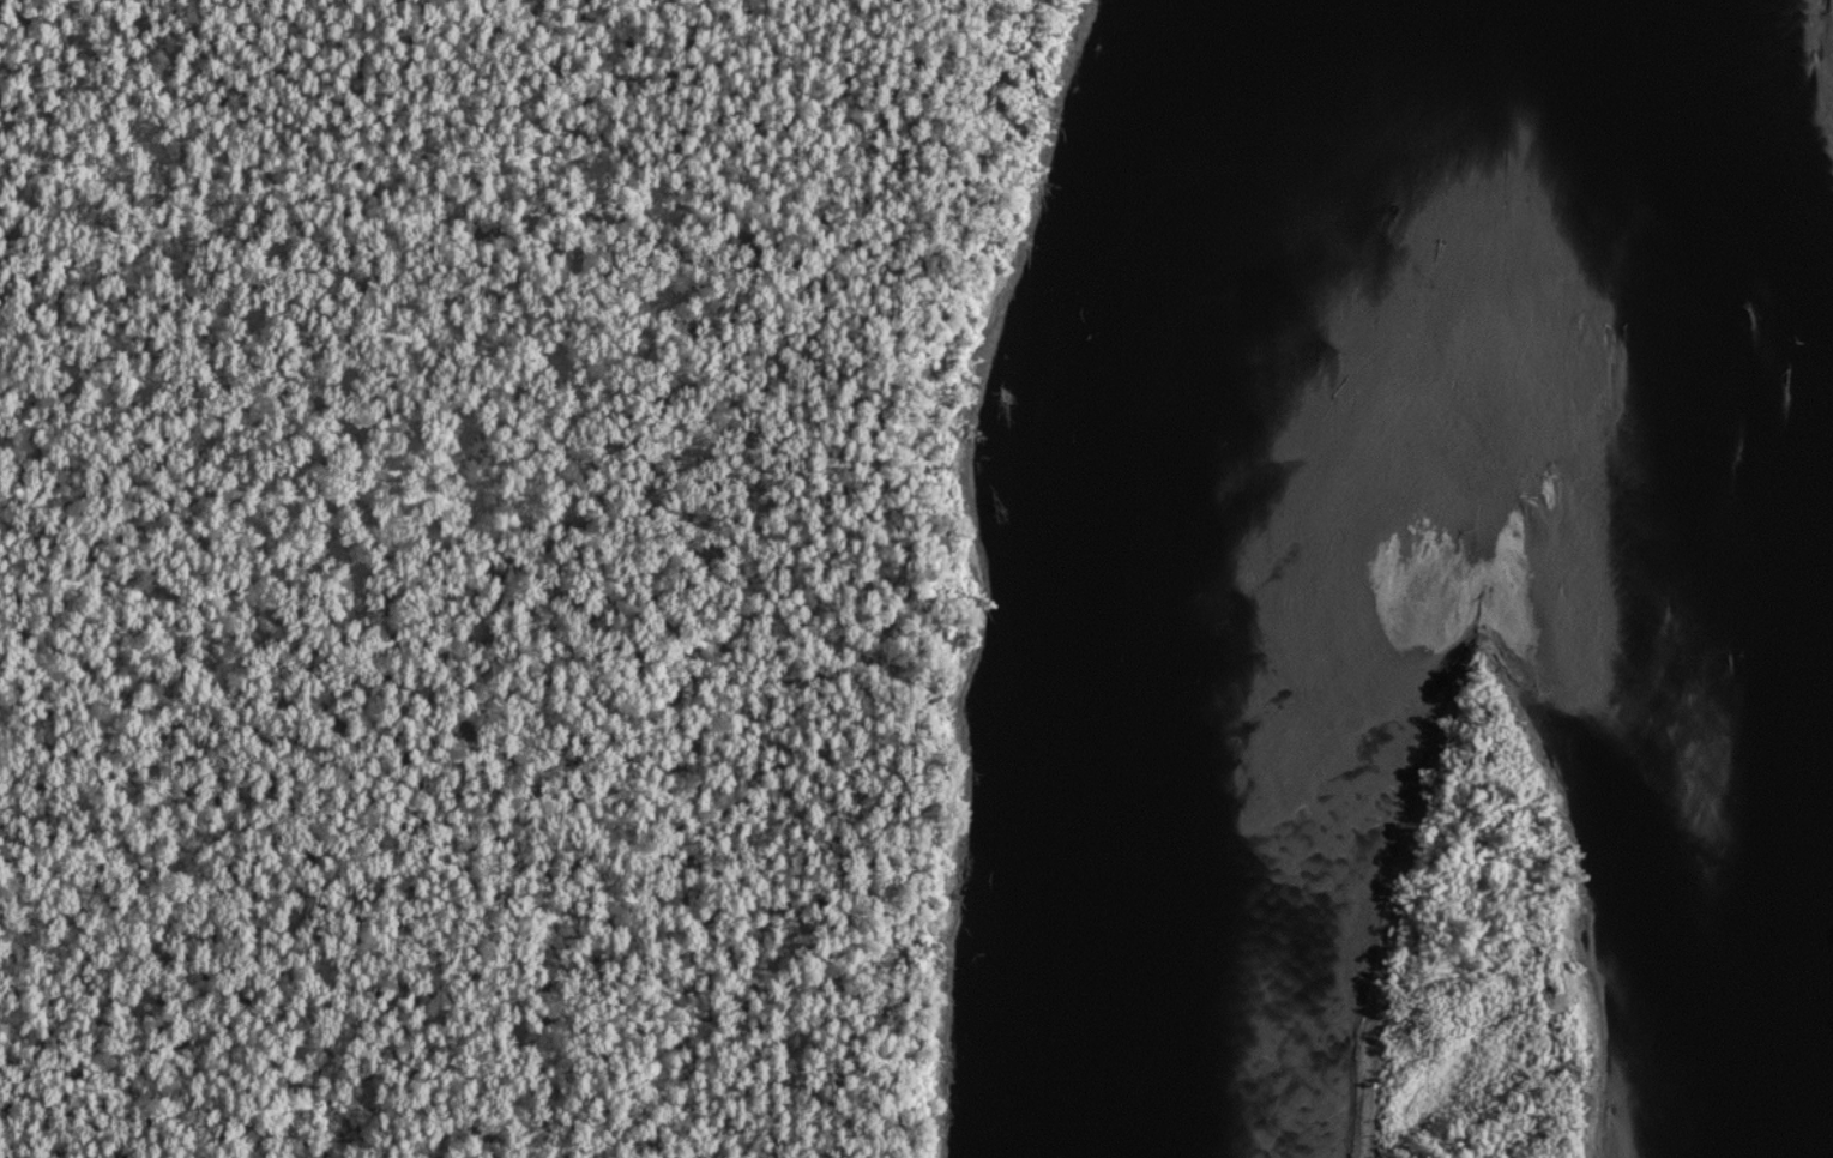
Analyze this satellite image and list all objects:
river: (1278, 578)

